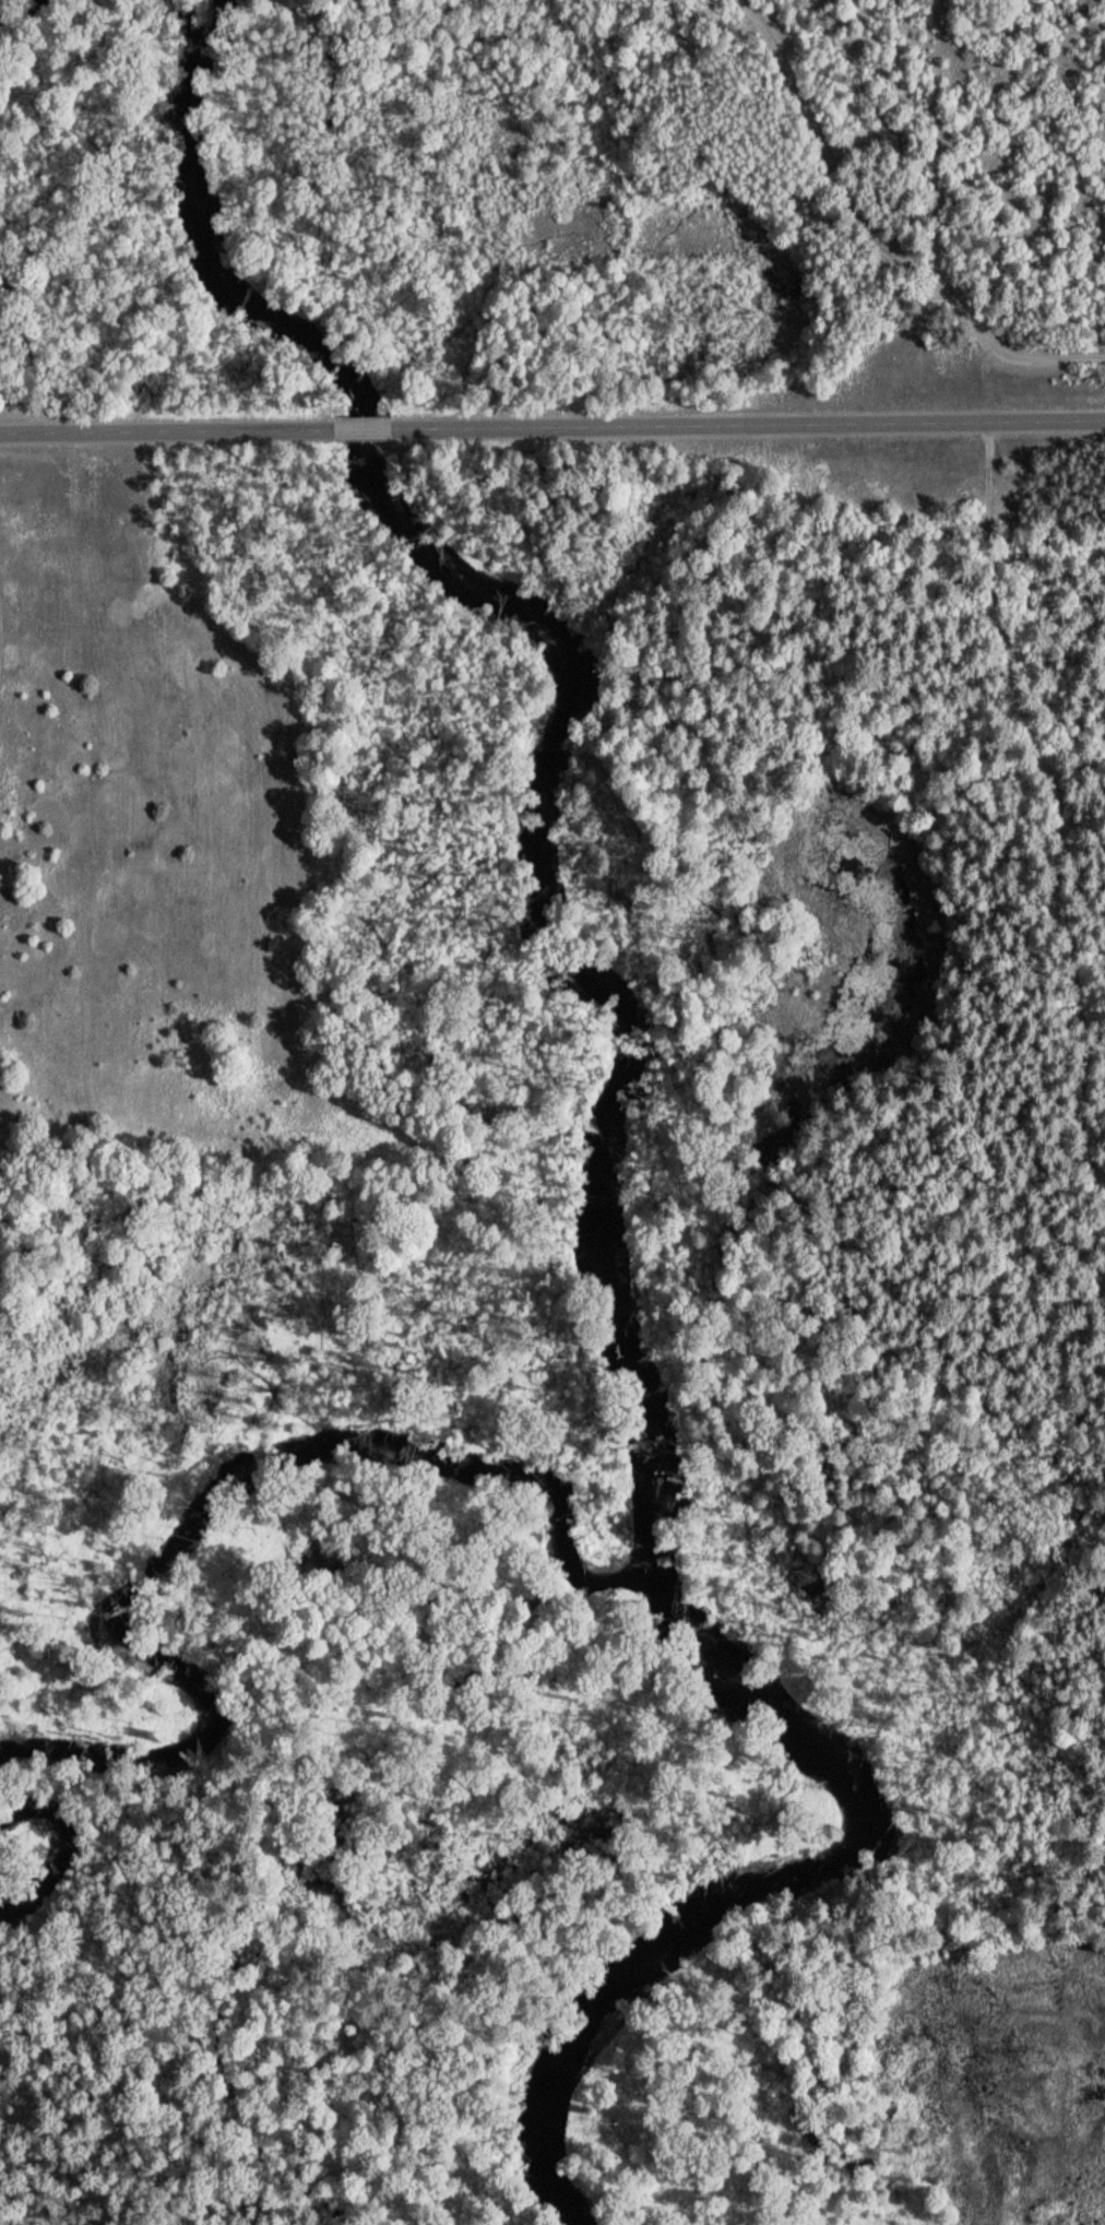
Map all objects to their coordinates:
river: (4, 2)
road: (228, 7)
road: (974, 164)
road: (874, 235)
road: (12, 342)
road: (747, 423)
road: (361, 428)
road: (167, 433)
river: (605, 1143)
river: (205, 1507)
river: (48, 1857)

